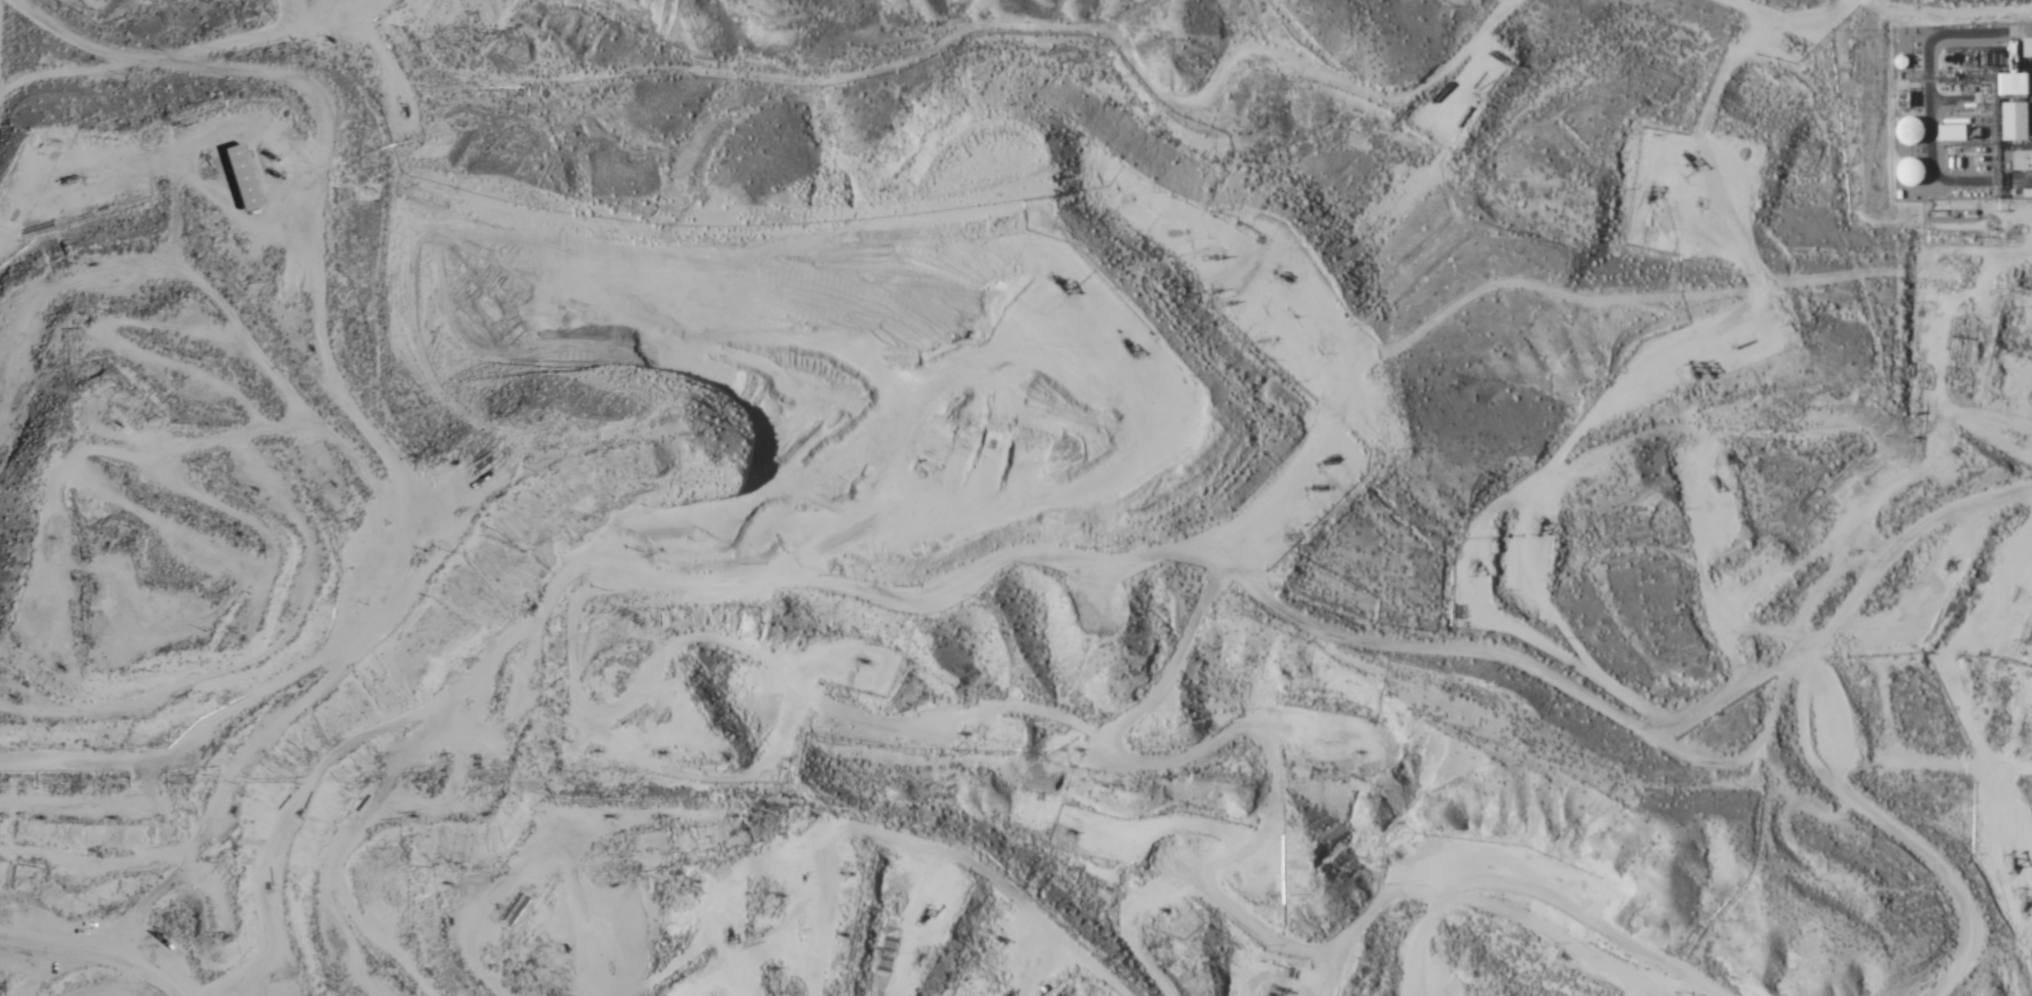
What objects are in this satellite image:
building: (2018, 85)
building: (2019, 121)
building: (1908, 130)
building: (1953, 132)
building: (2019, 161)
building: (1909, 171)
building: (243, 176)
road: (322, 245)
road: (1809, 721)
road: (877, 835)
road: (1544, 892)
road: (82, 963)

